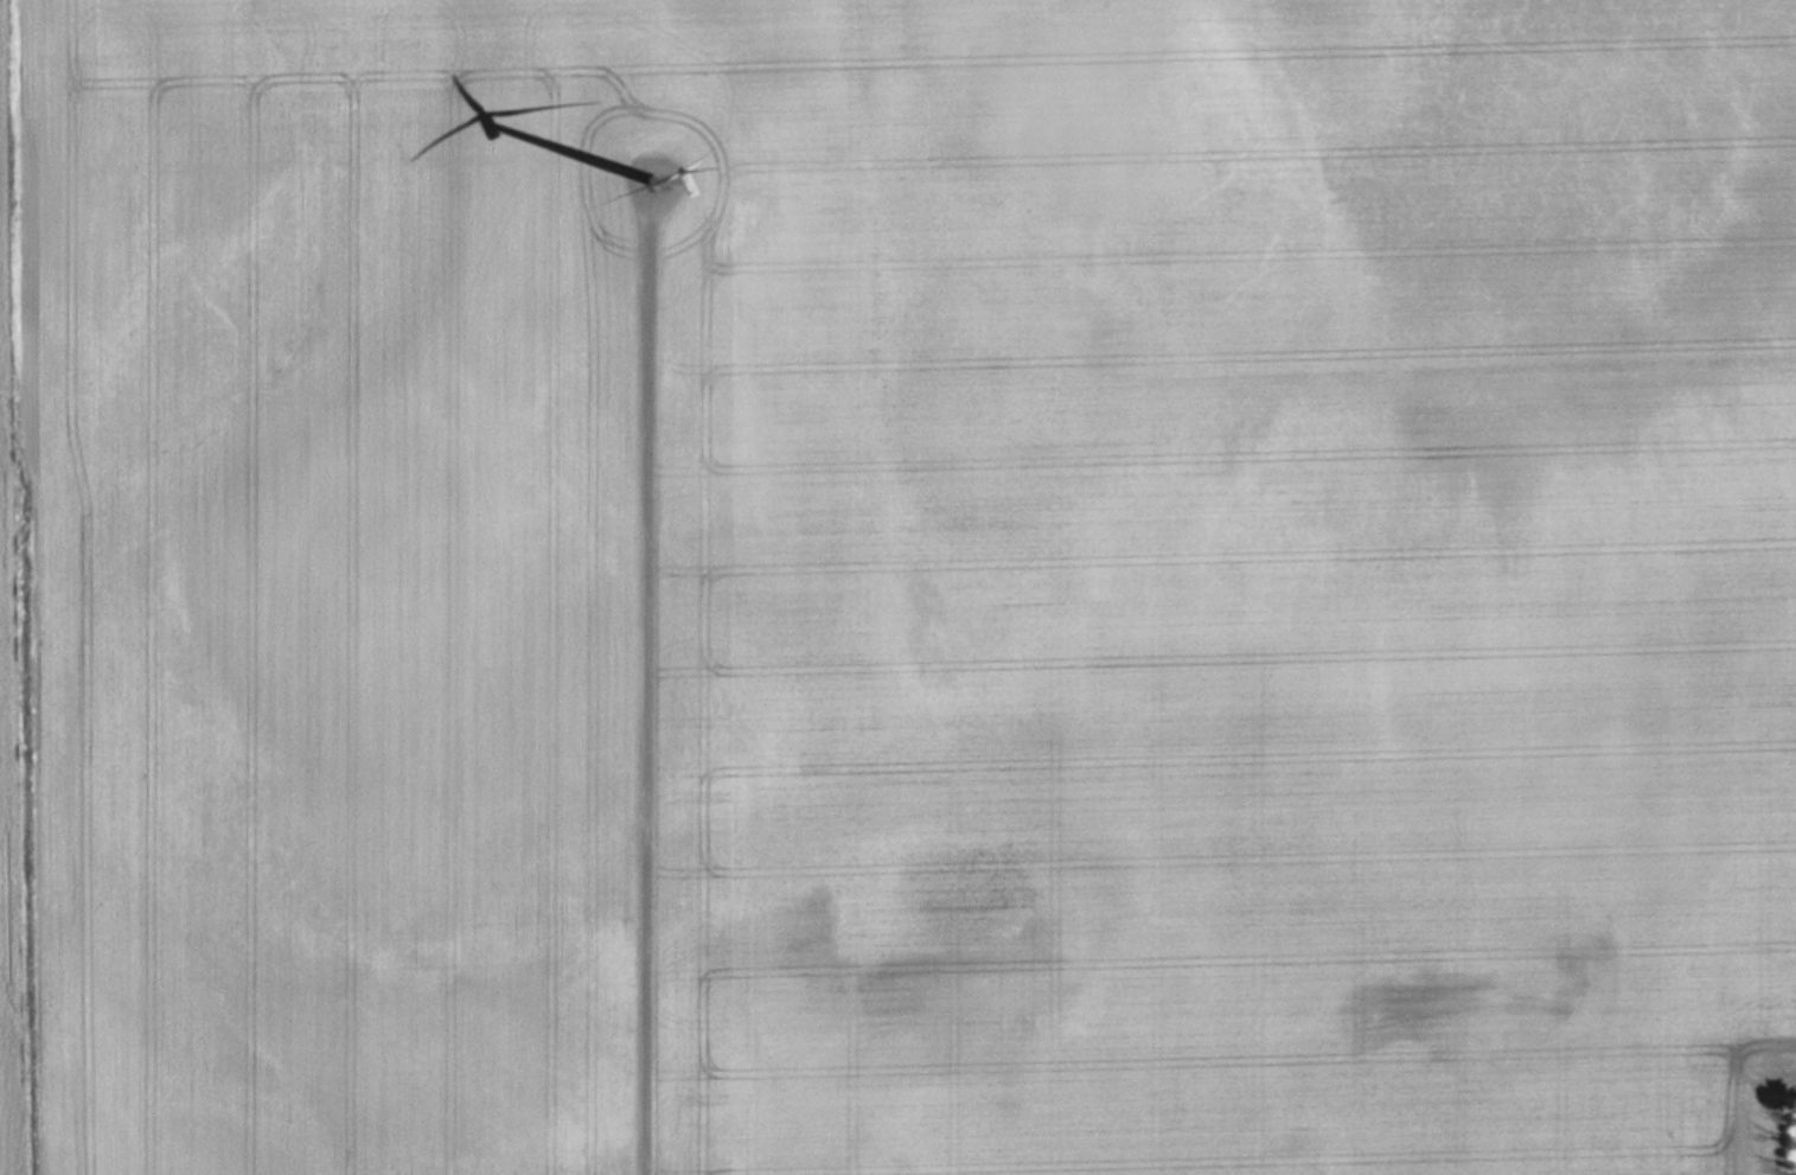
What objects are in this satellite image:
building: (1085, 27)
building: (1031, 104)
wind turbine: (651, 179)
road: (651, 688)

